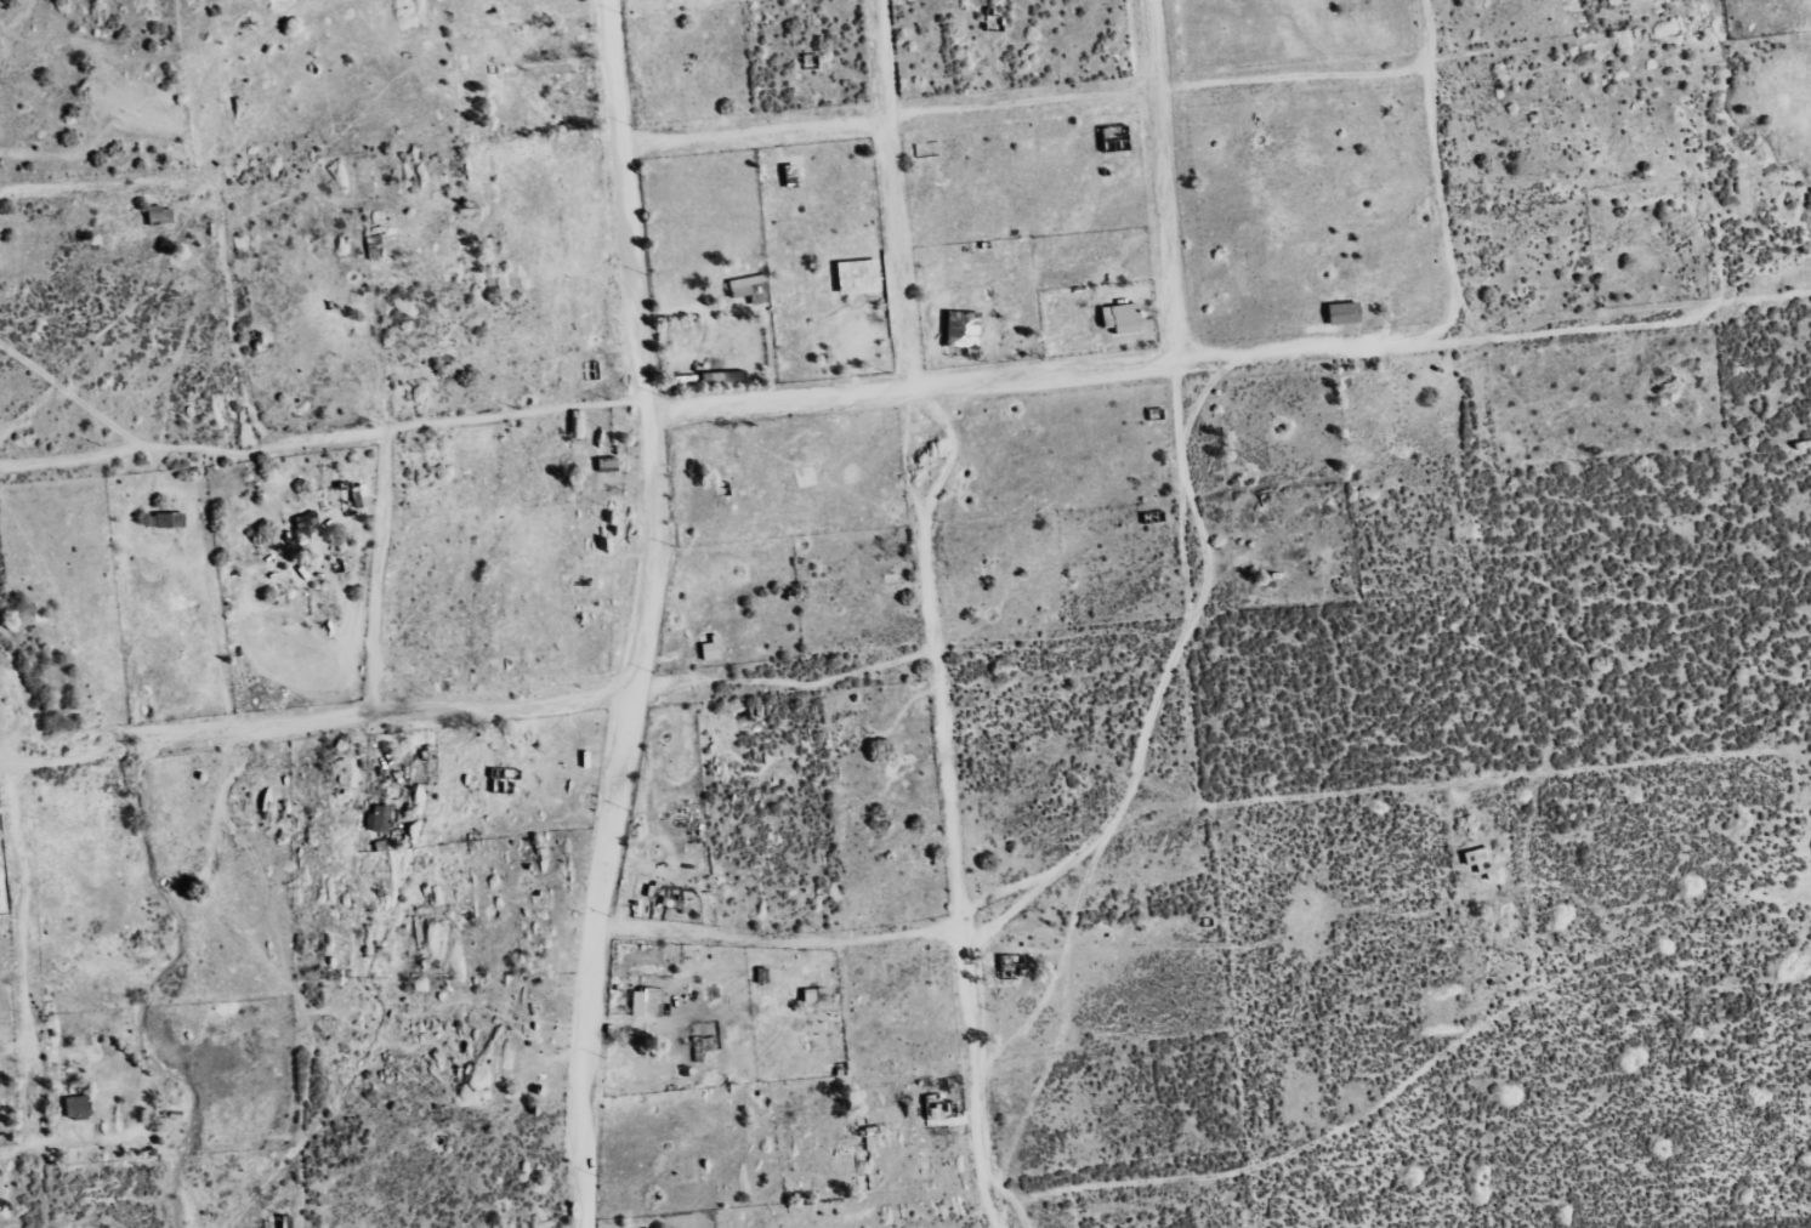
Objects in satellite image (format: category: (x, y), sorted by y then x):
road: (1435, 169)
road: (1168, 313)
road: (929, 604)
road: (645, 615)
road: (12, 962)

